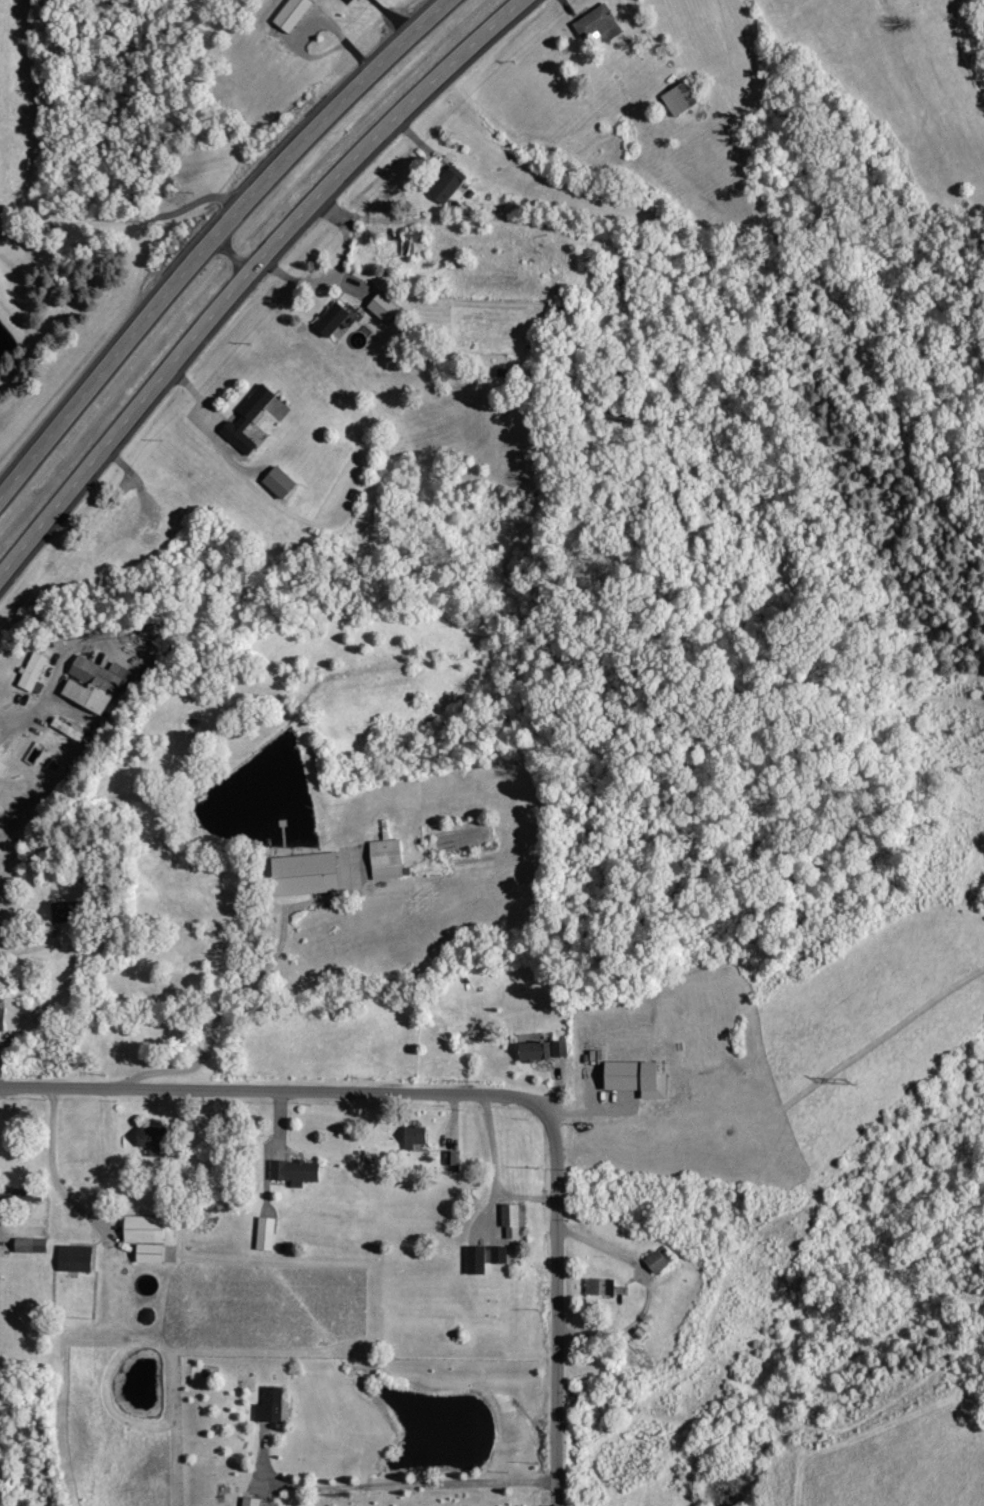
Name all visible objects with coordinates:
building: (294, 14)
building: (601, 23)
road: (655, 40)
building: (682, 99)
building: (450, 184)
road: (126, 215)
road: (410, 223)
road: (216, 241)
building: (414, 245)
road: (250, 277)
road: (302, 280)
building: (386, 307)
building: (334, 319)
building: (250, 418)
road: (215, 427)
building: (282, 482)
building: (35, 674)
building: (98, 684)
road: (31, 715)
building: (74, 731)
building: (2, 765)
building: (389, 859)
building: (309, 874)
building: (70, 911)
road: (26, 944)
road: (227, 1009)
building: (3, 1020)
building: (562, 1049)
building: (536, 1051)
building: (640, 1078)
road: (474, 1094)
building: (417, 1137)
building: (154, 1141)
road: (274, 1152)
building: (452, 1160)
road: (53, 1170)
building: (296, 1171)
road: (498, 1175)
building: (27, 1195)
building: (515, 1220)
building: (146, 1229)
building: (267, 1234)
road: (2, 1239)
building: (32, 1245)
road: (599, 1250)
building: (152, 1254)
building: (501, 1255)
building: (77, 1258)
building: (478, 1261)
building: (659, 1262)
building: (272, 1405)
road: (394, 1485)
building: (252, 1501)

